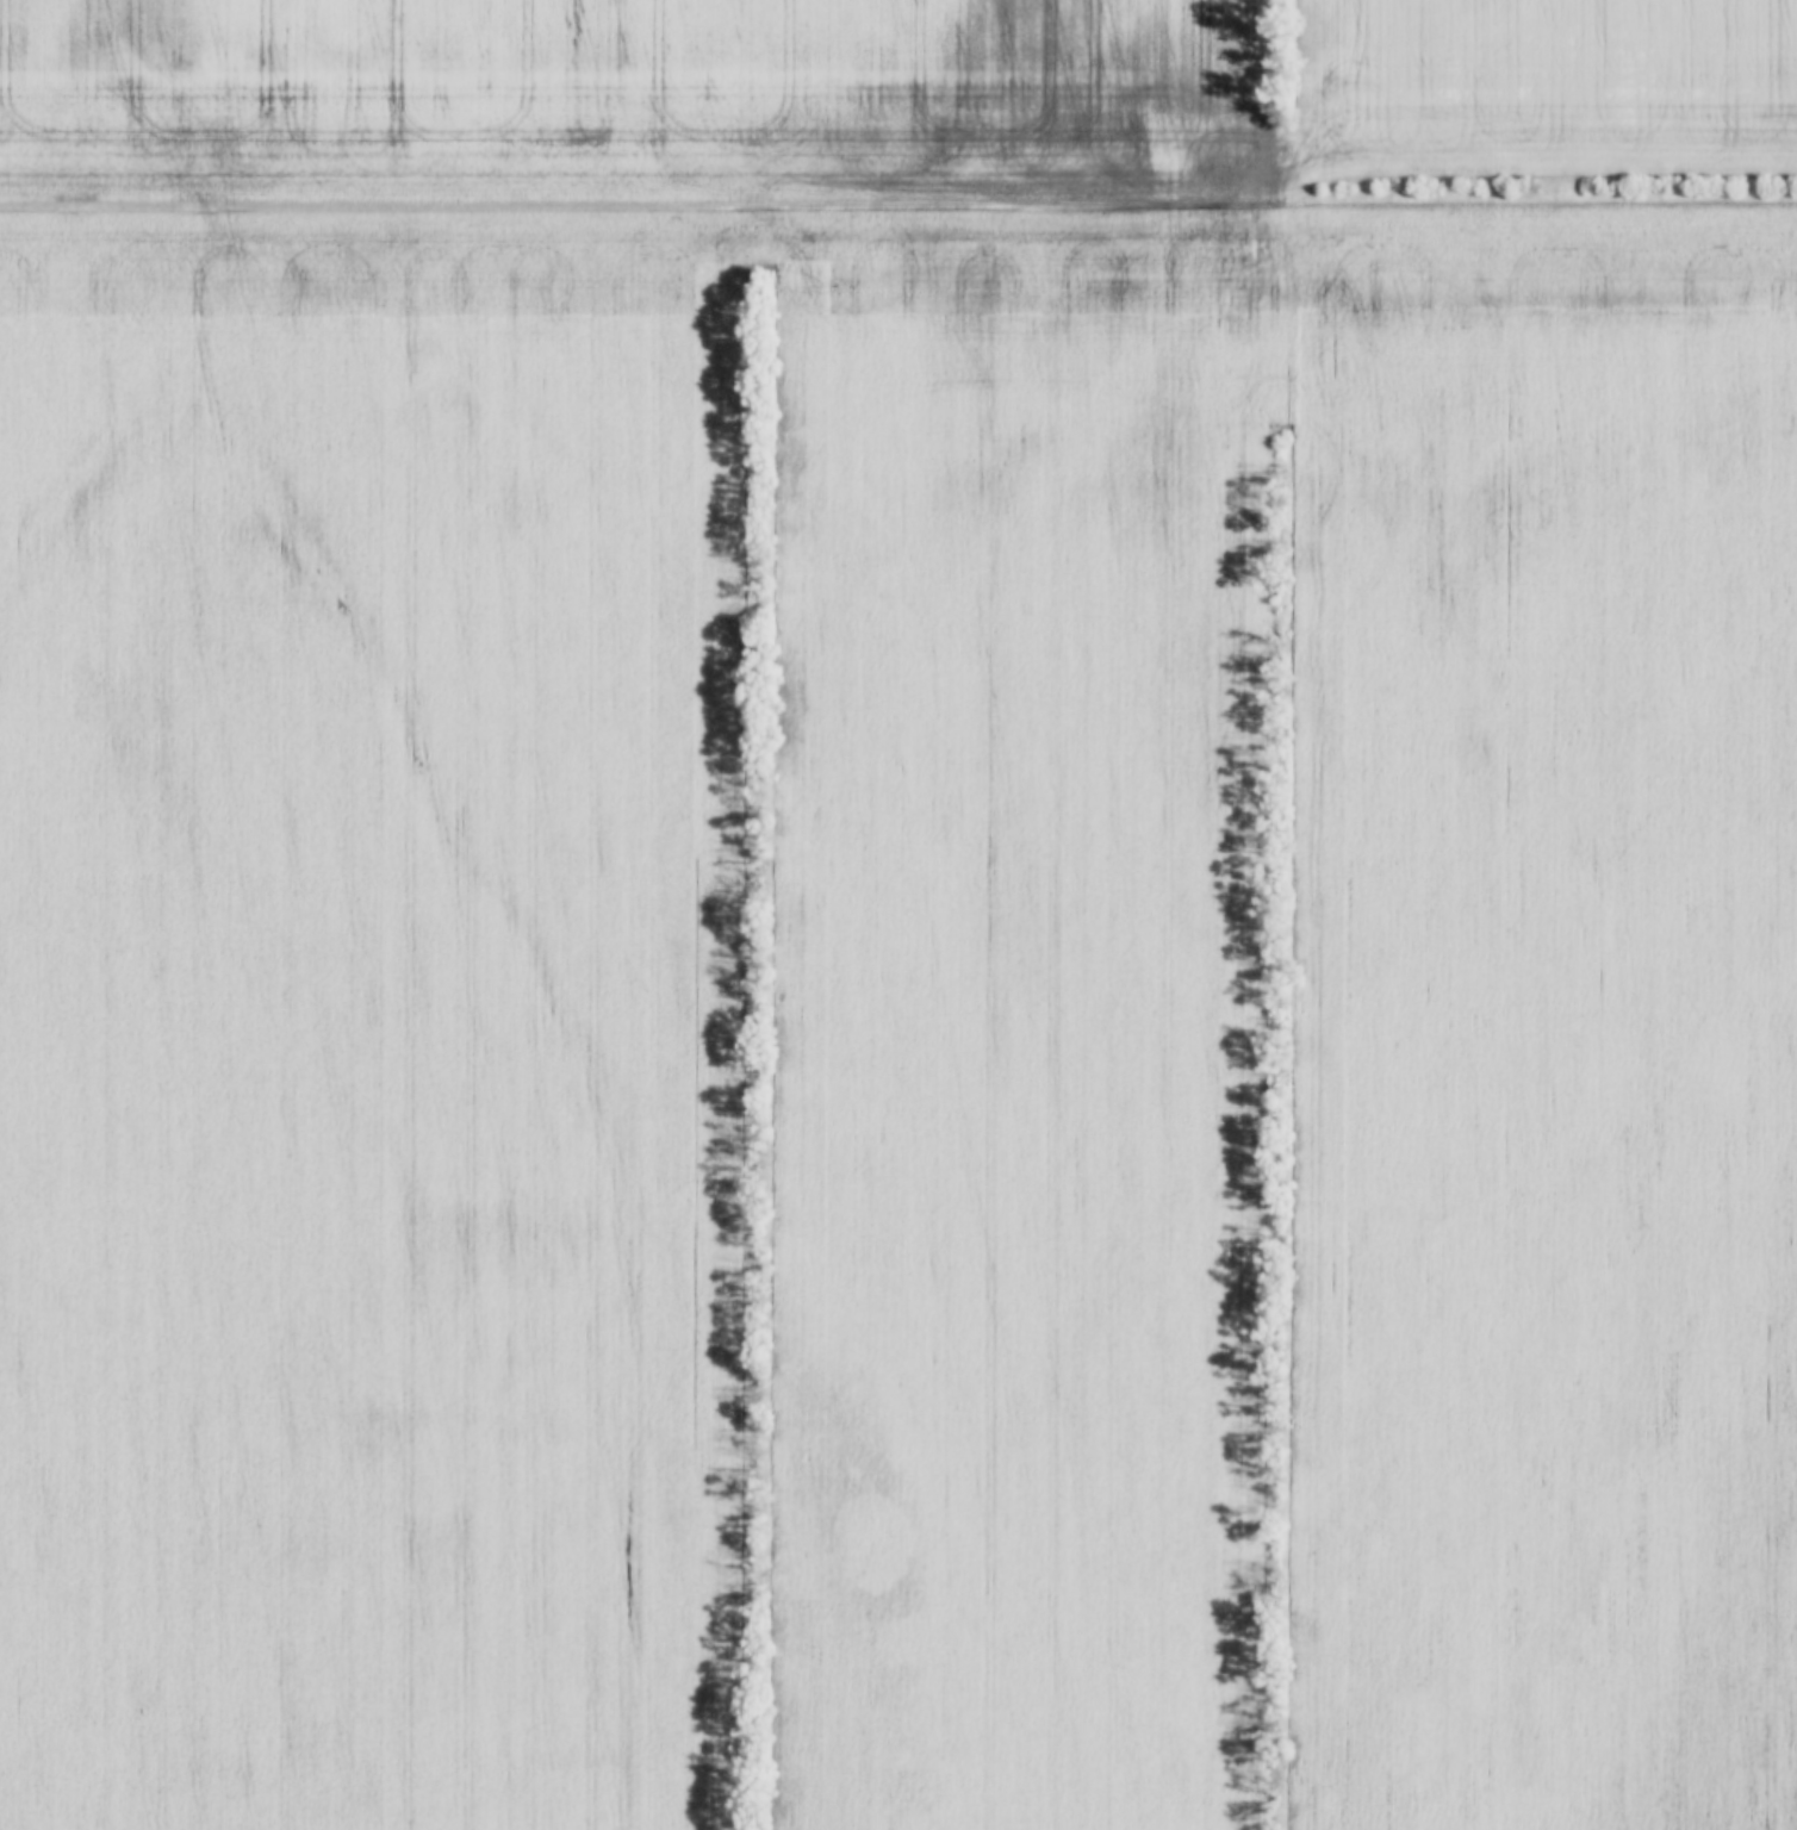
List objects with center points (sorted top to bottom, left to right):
road: (898, 210)

